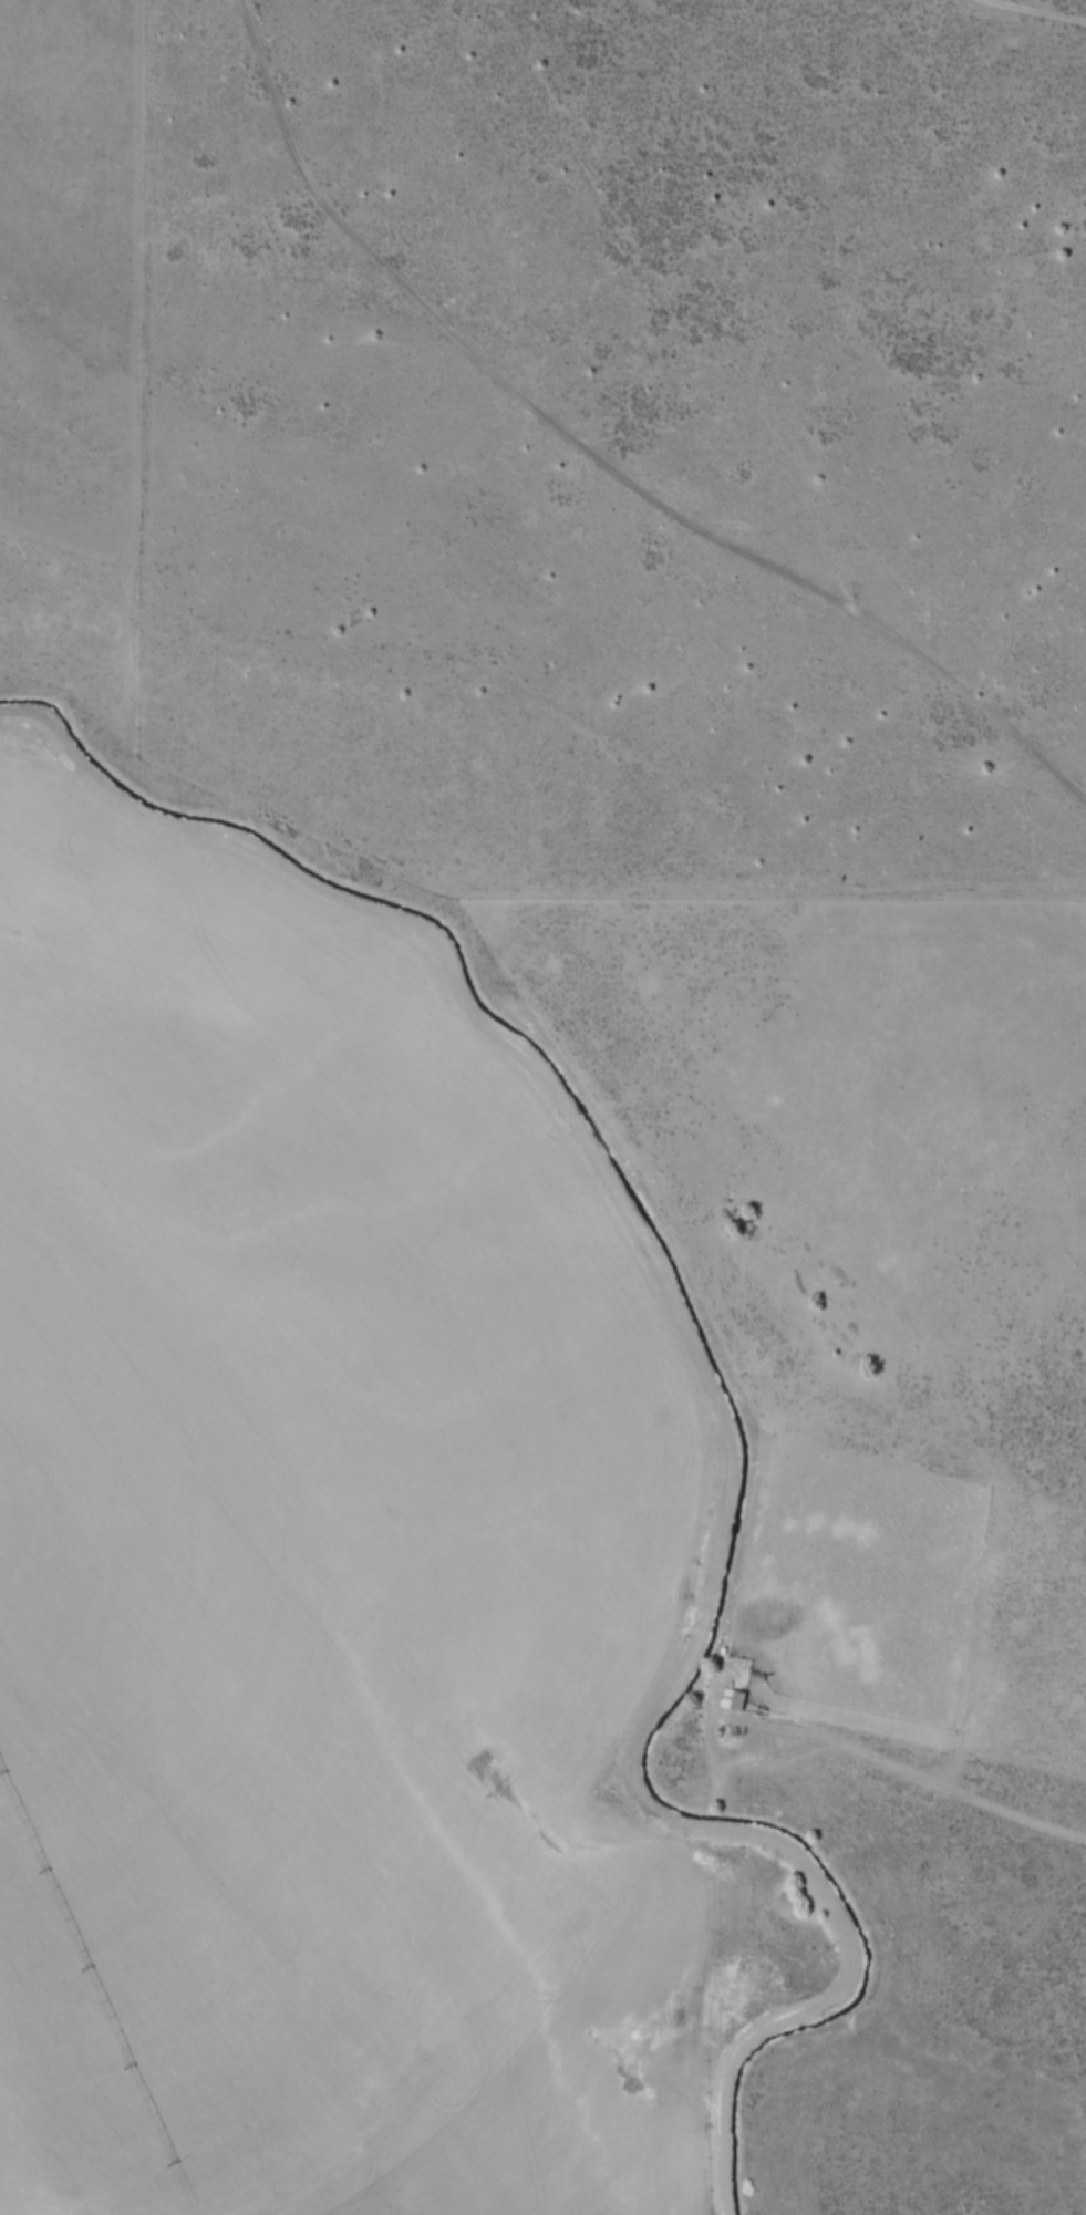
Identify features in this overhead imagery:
road: (597, 459)
crop: (506, 1463)

